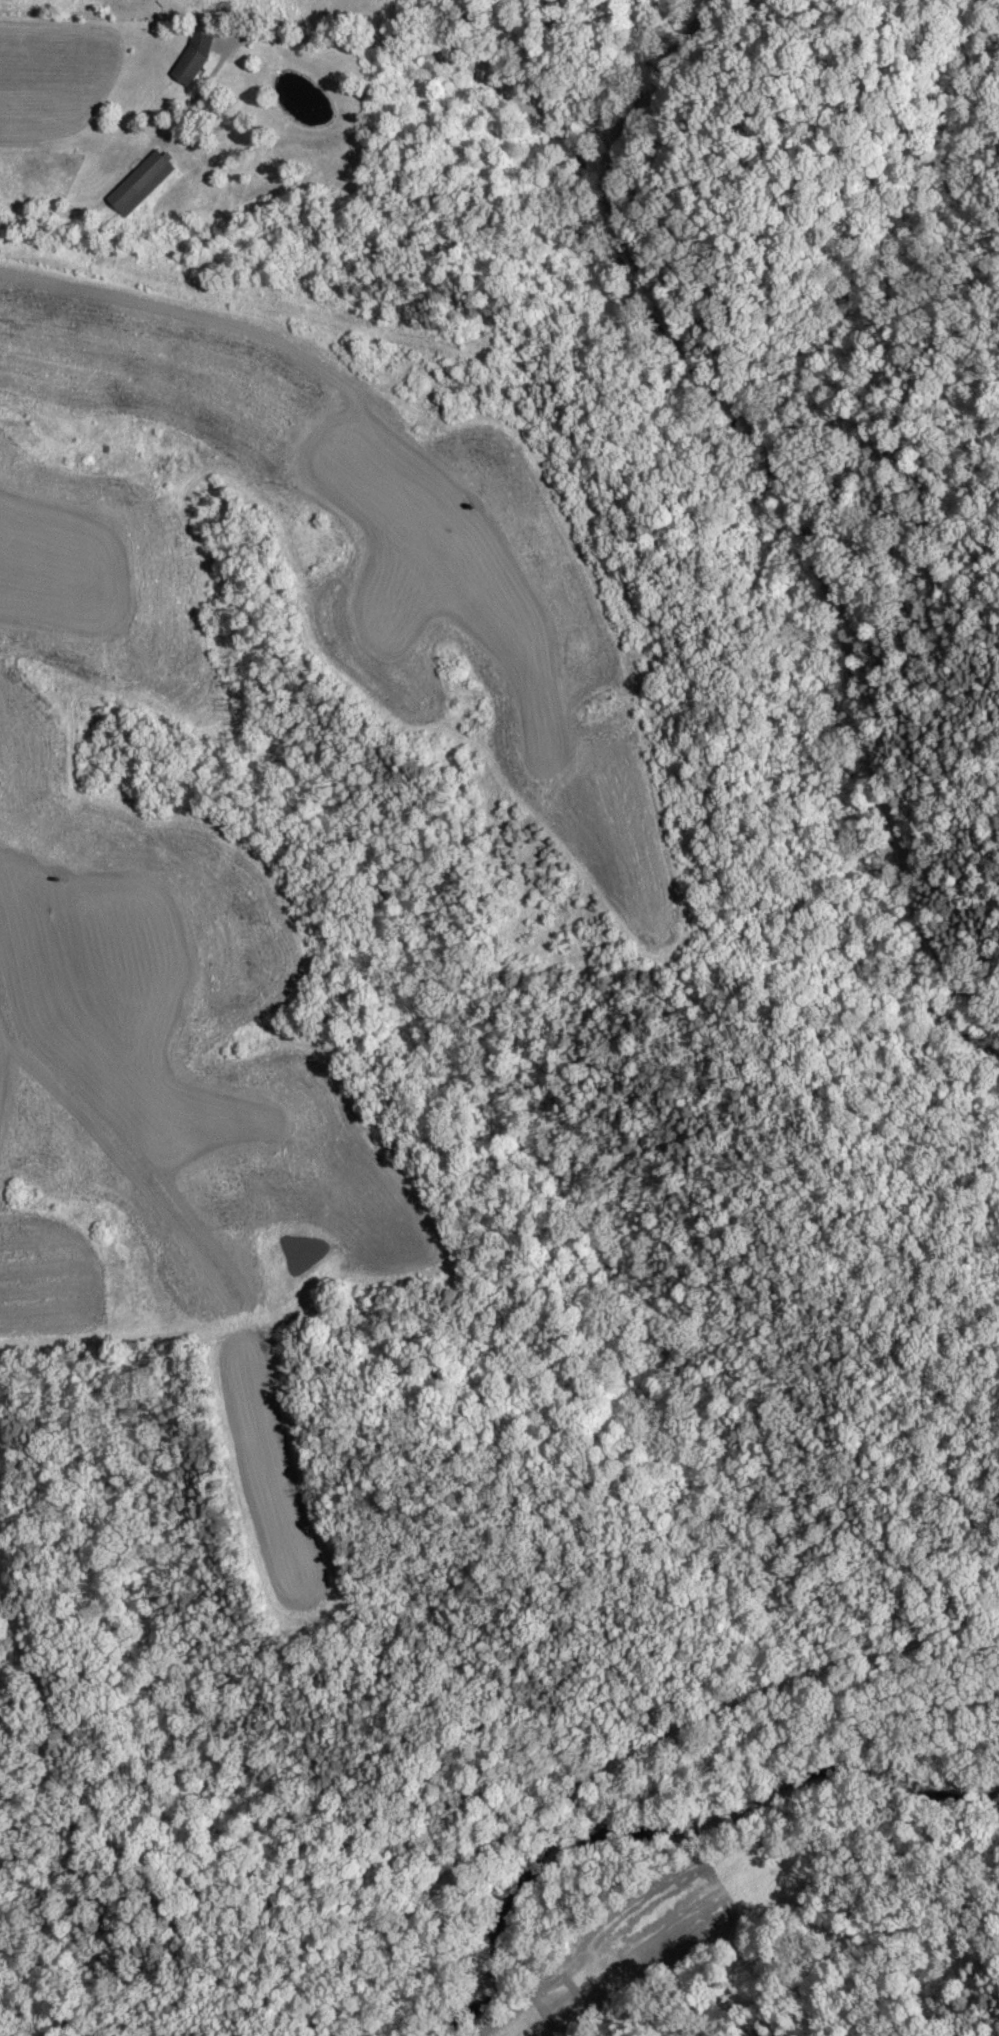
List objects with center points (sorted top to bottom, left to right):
building: (196, 58)
building: (143, 184)
road: (816, 465)
road: (595, 1748)

